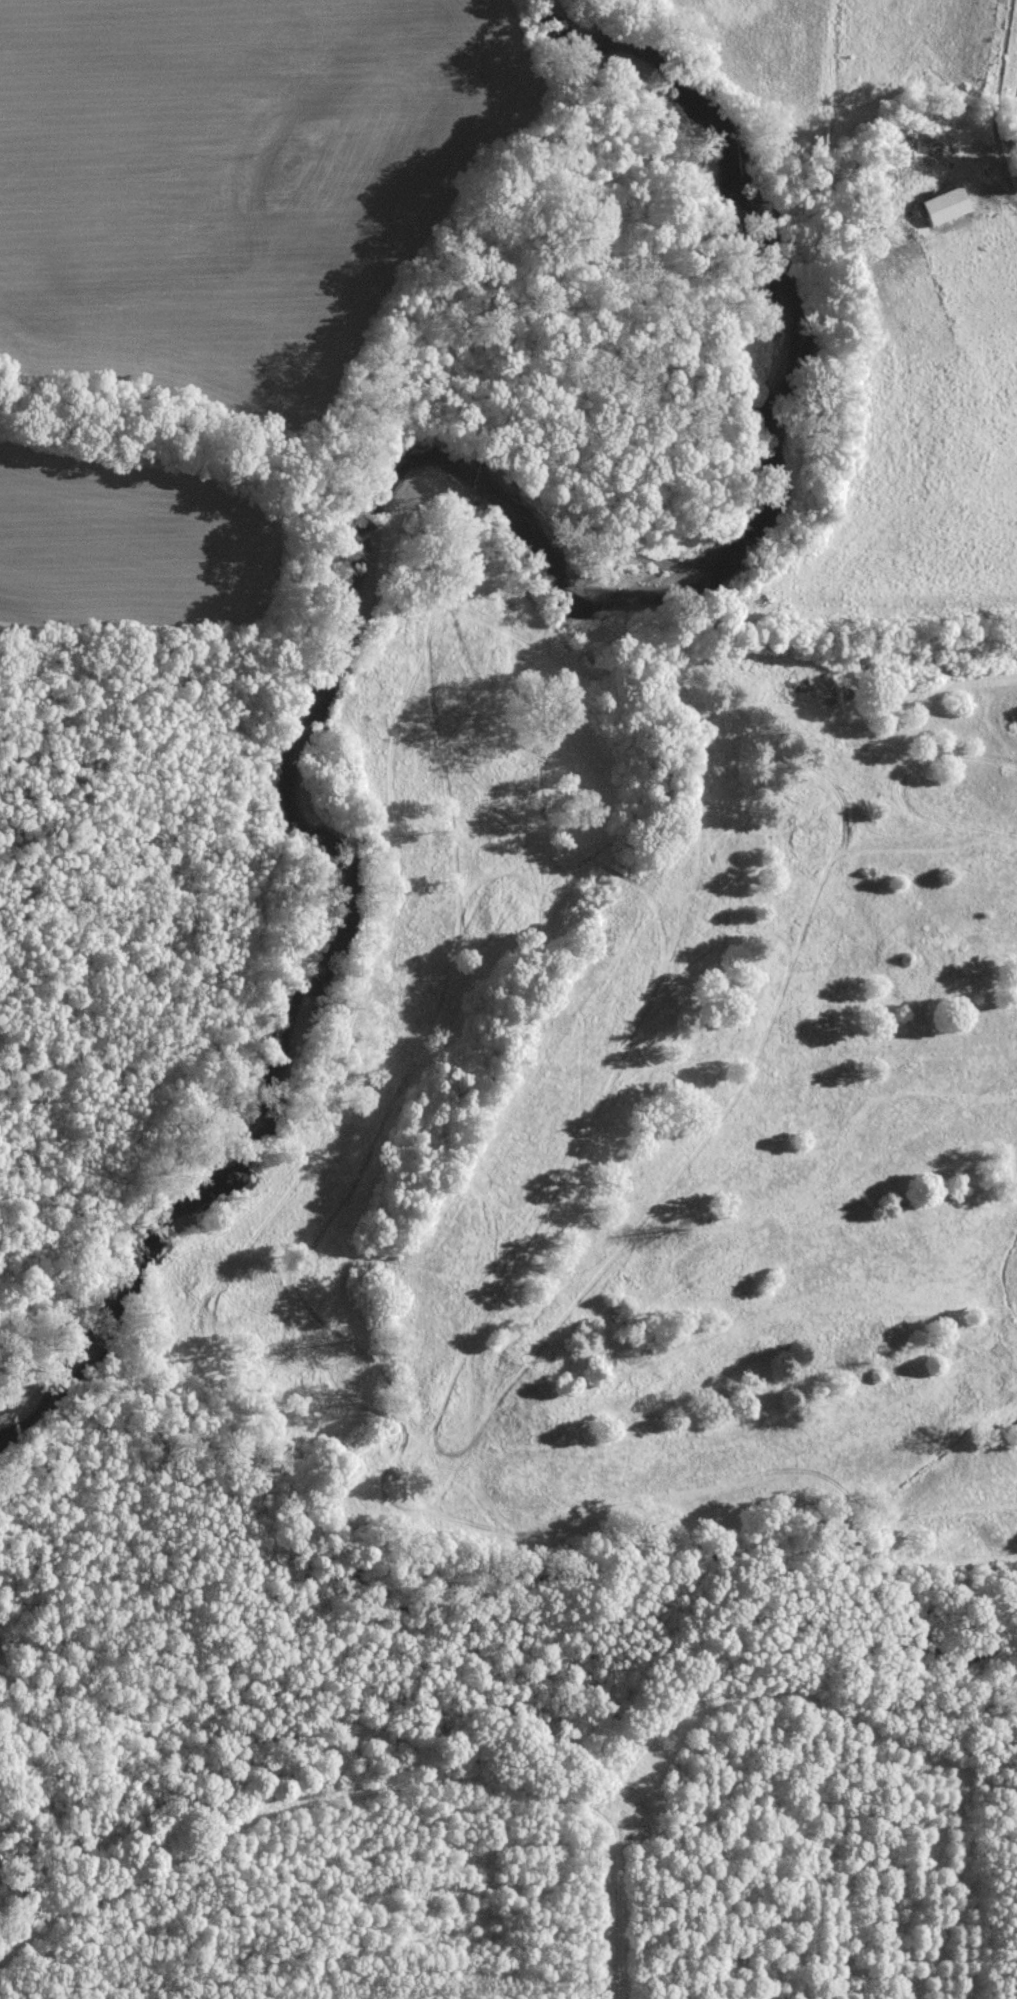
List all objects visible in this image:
road: (997, 89)
road: (1011, 188)
building: (946, 205)
river: (396, 488)
park: (636, 1108)

